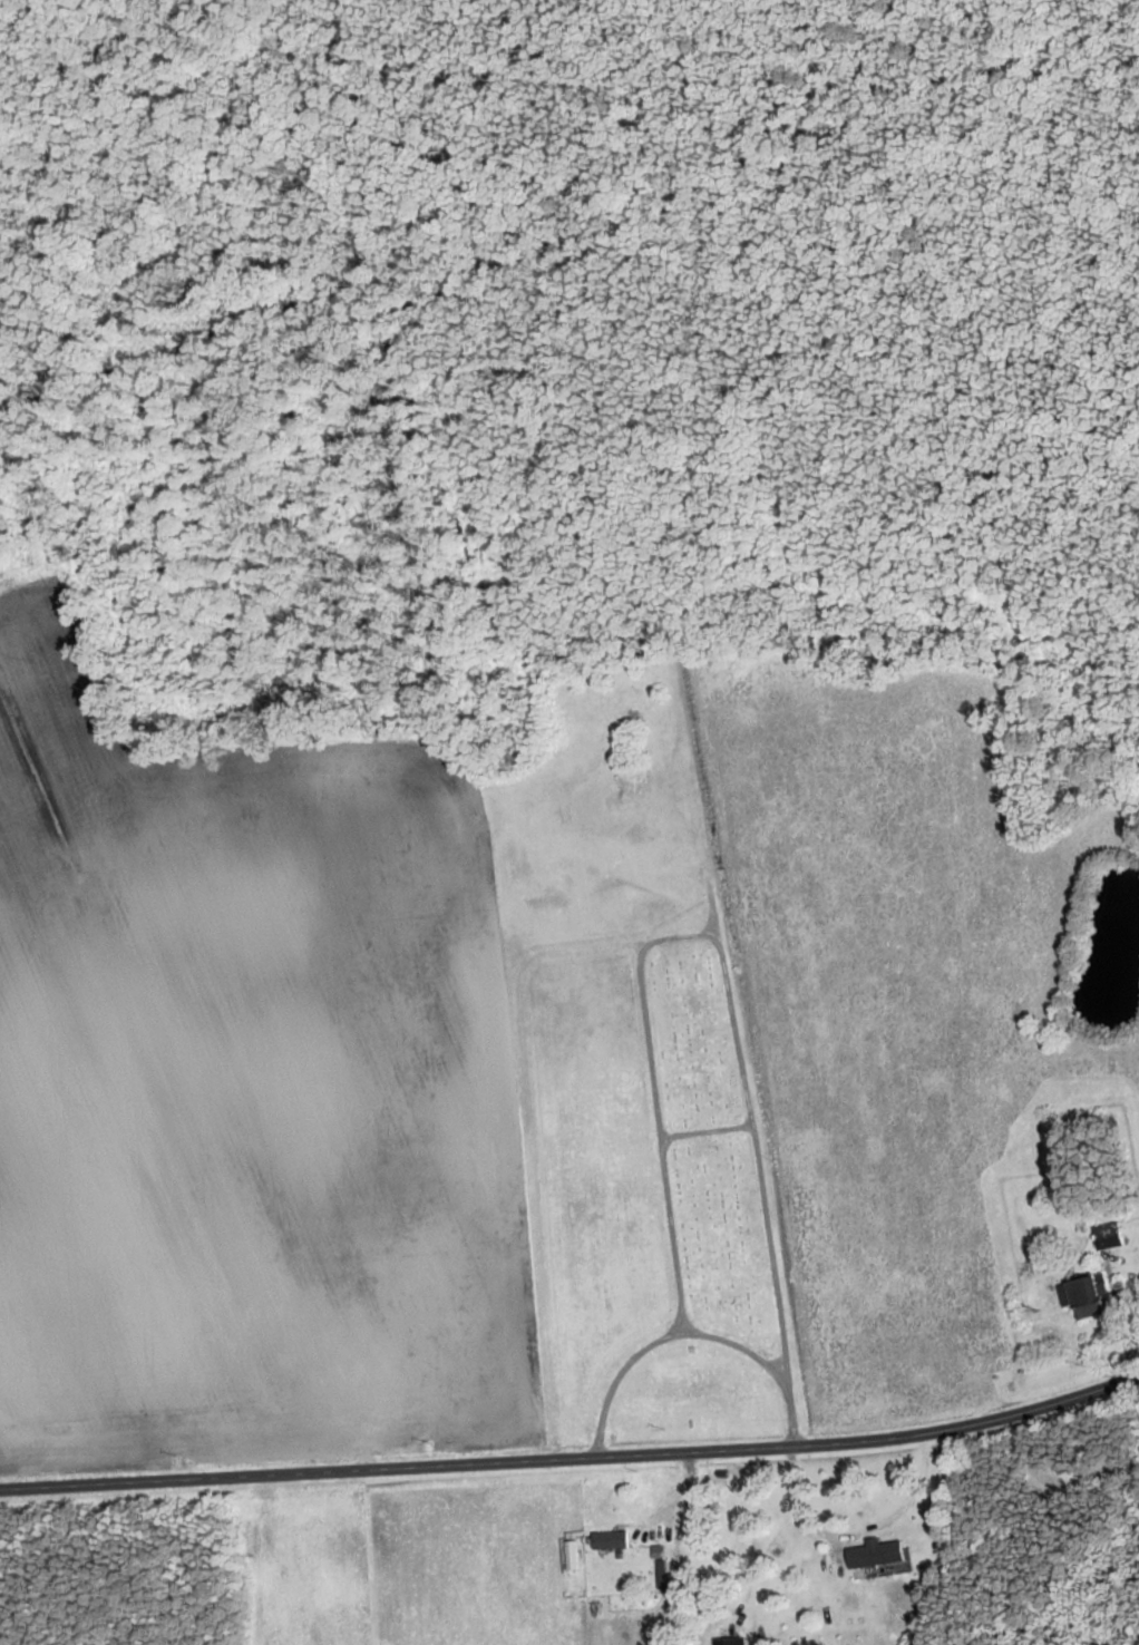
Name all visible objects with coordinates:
building: (1109, 1237)
building: (1088, 1297)
road: (573, 1462)
building: (612, 1539)
building: (878, 1552)
building: (733, 1641)

